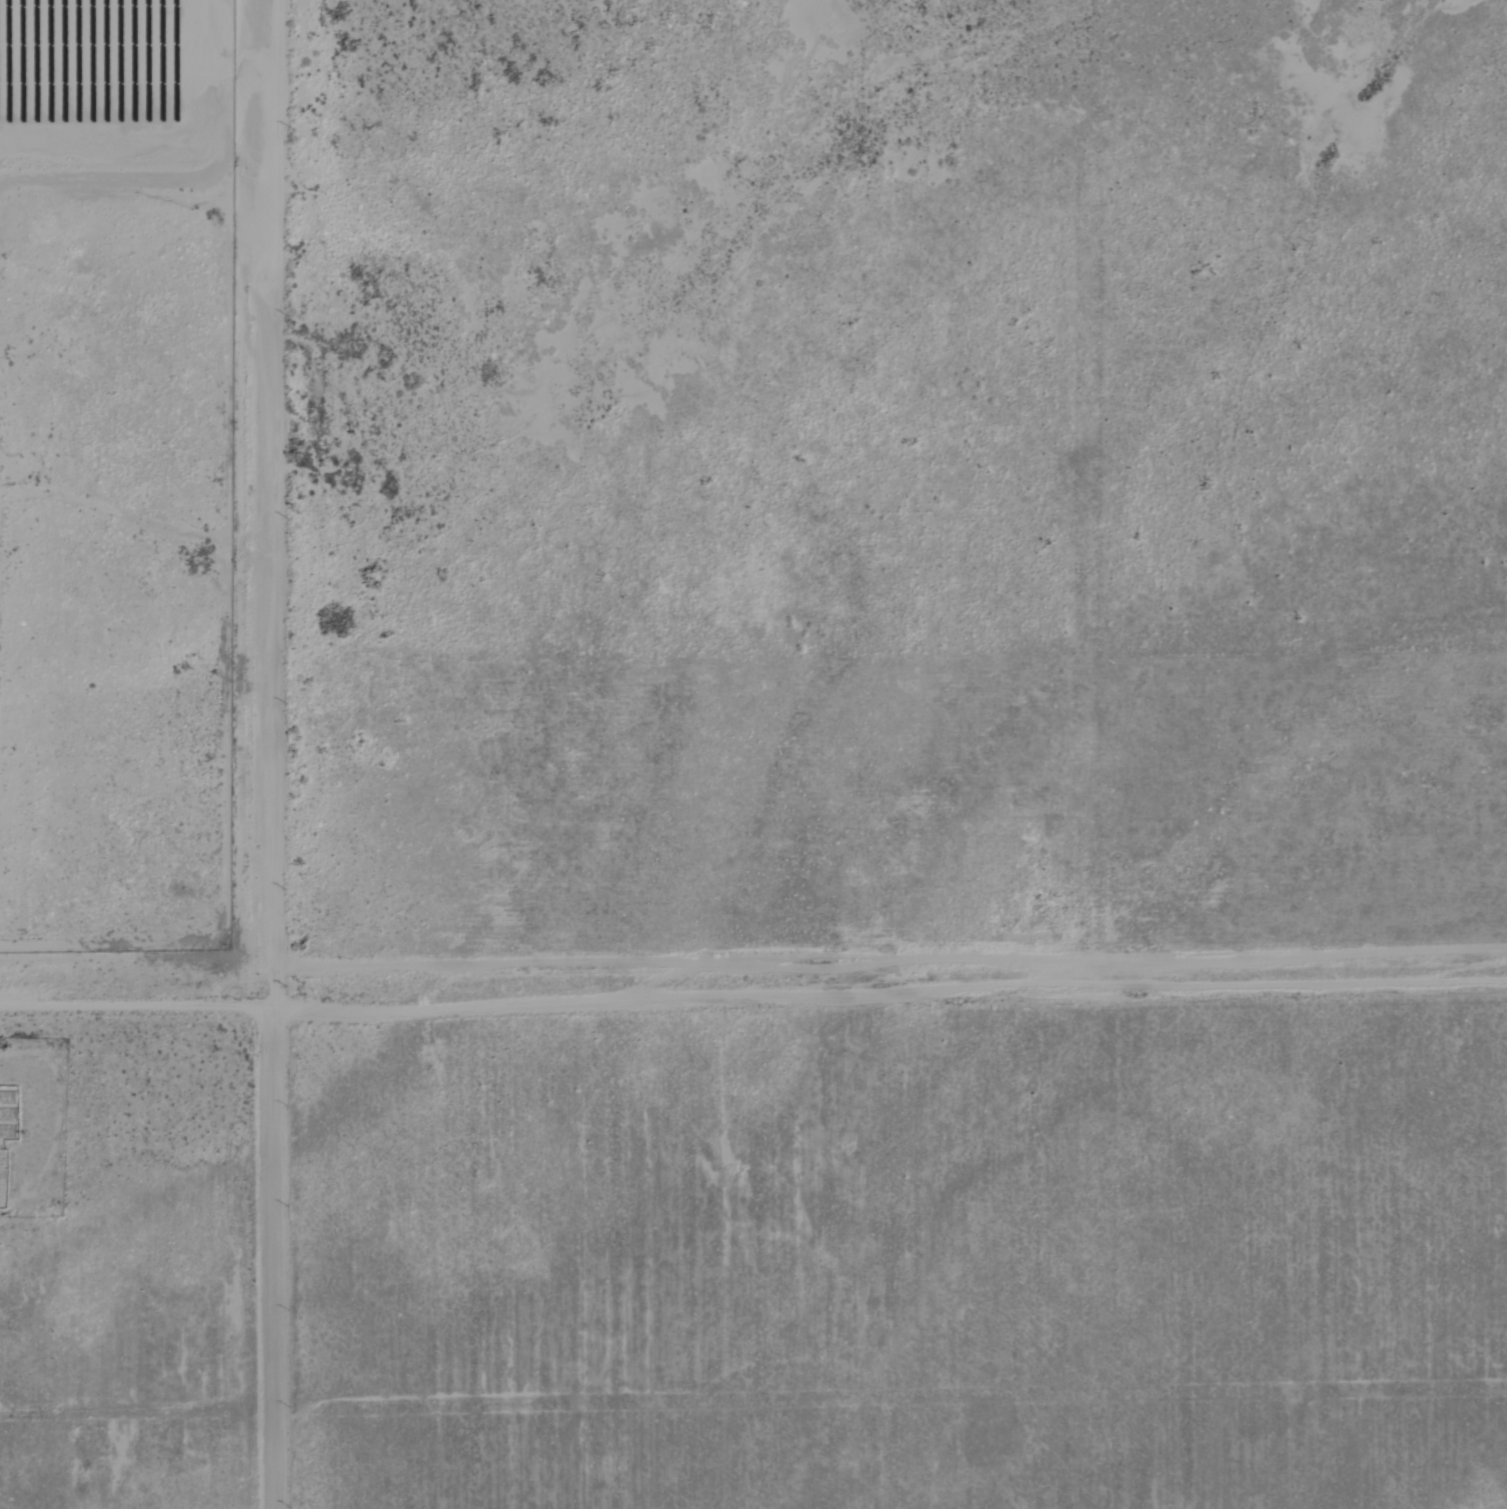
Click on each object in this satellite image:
solar farm: (117, 477)
road: (276, 511)
road: (753, 1004)
road: (278, 1266)
building: (90, 1431)

